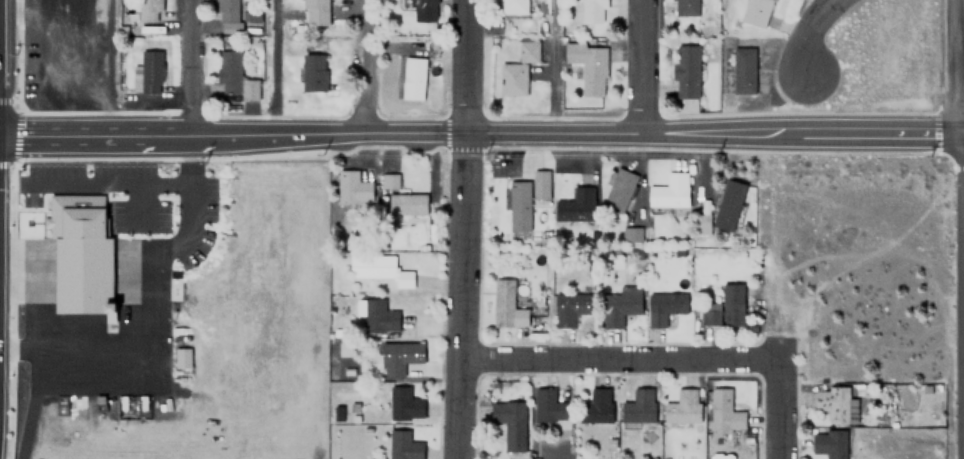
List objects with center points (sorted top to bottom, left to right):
building: (685, 4)
building: (514, 7)
building: (419, 9)
building: (145, 10)
building: (225, 10)
building: (593, 11)
building: (314, 12)
building: (757, 12)
road: (807, 30)
road: (112, 65)
road: (194, 65)
road: (273, 65)
road: (362, 66)
building: (588, 66)
road: (646, 66)
road: (953, 67)
building: (517, 69)
building: (150, 71)
building: (744, 71)
building: (313, 72)
building: (686, 72)
building: (233, 76)
building: (411, 79)
road: (479, 132)
road: (961, 134)
road: (961, 145)
building: (540, 179)
building: (351, 188)
building: (618, 190)
building: (670, 192)
building: (406, 204)
building: (519, 206)
building: (576, 206)
building: (729, 206)
road: (462, 229)
building: (80, 253)
building: (379, 269)
park: (248, 301)
building: (505, 305)
building: (665, 306)
building: (725, 306)
building: (572, 308)
building: (619, 308)
building: (379, 316)
building: (184, 356)
building: (399, 357)
road: (619, 359)
building: (403, 404)
building: (835, 404)
building: (549, 405)
building: (596, 405)
building: (639, 405)
building: (683, 406)
road: (777, 409)
building: (724, 413)
building: (510, 423)
building: (829, 443)
building: (403, 445)

